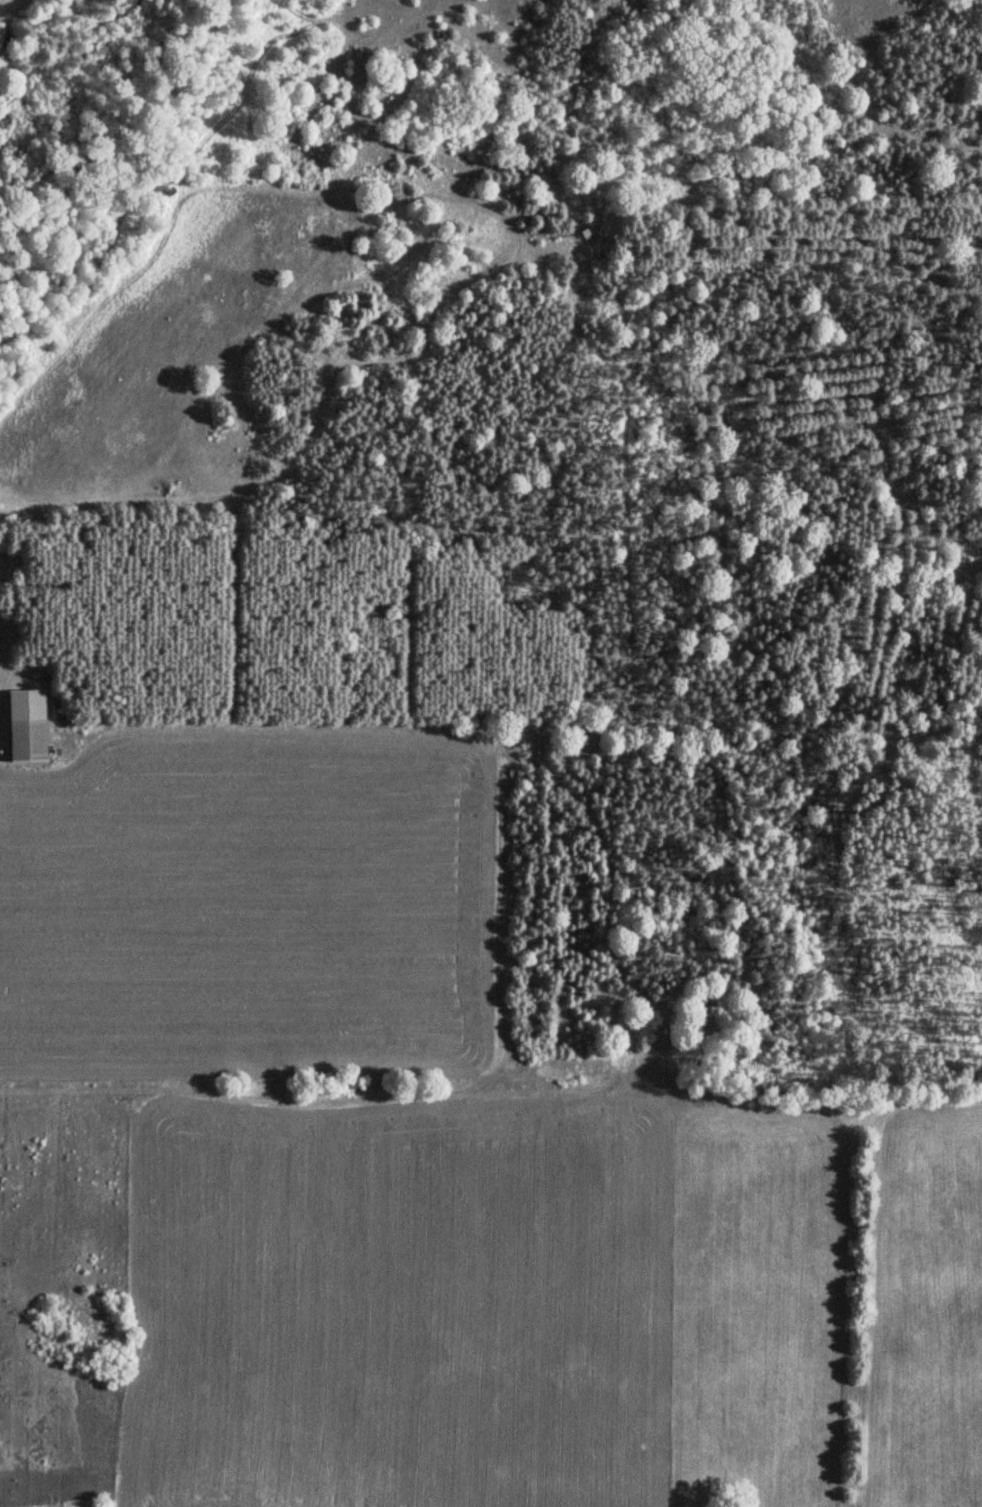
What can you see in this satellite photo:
building: (1, 30)
building: (22, 725)

